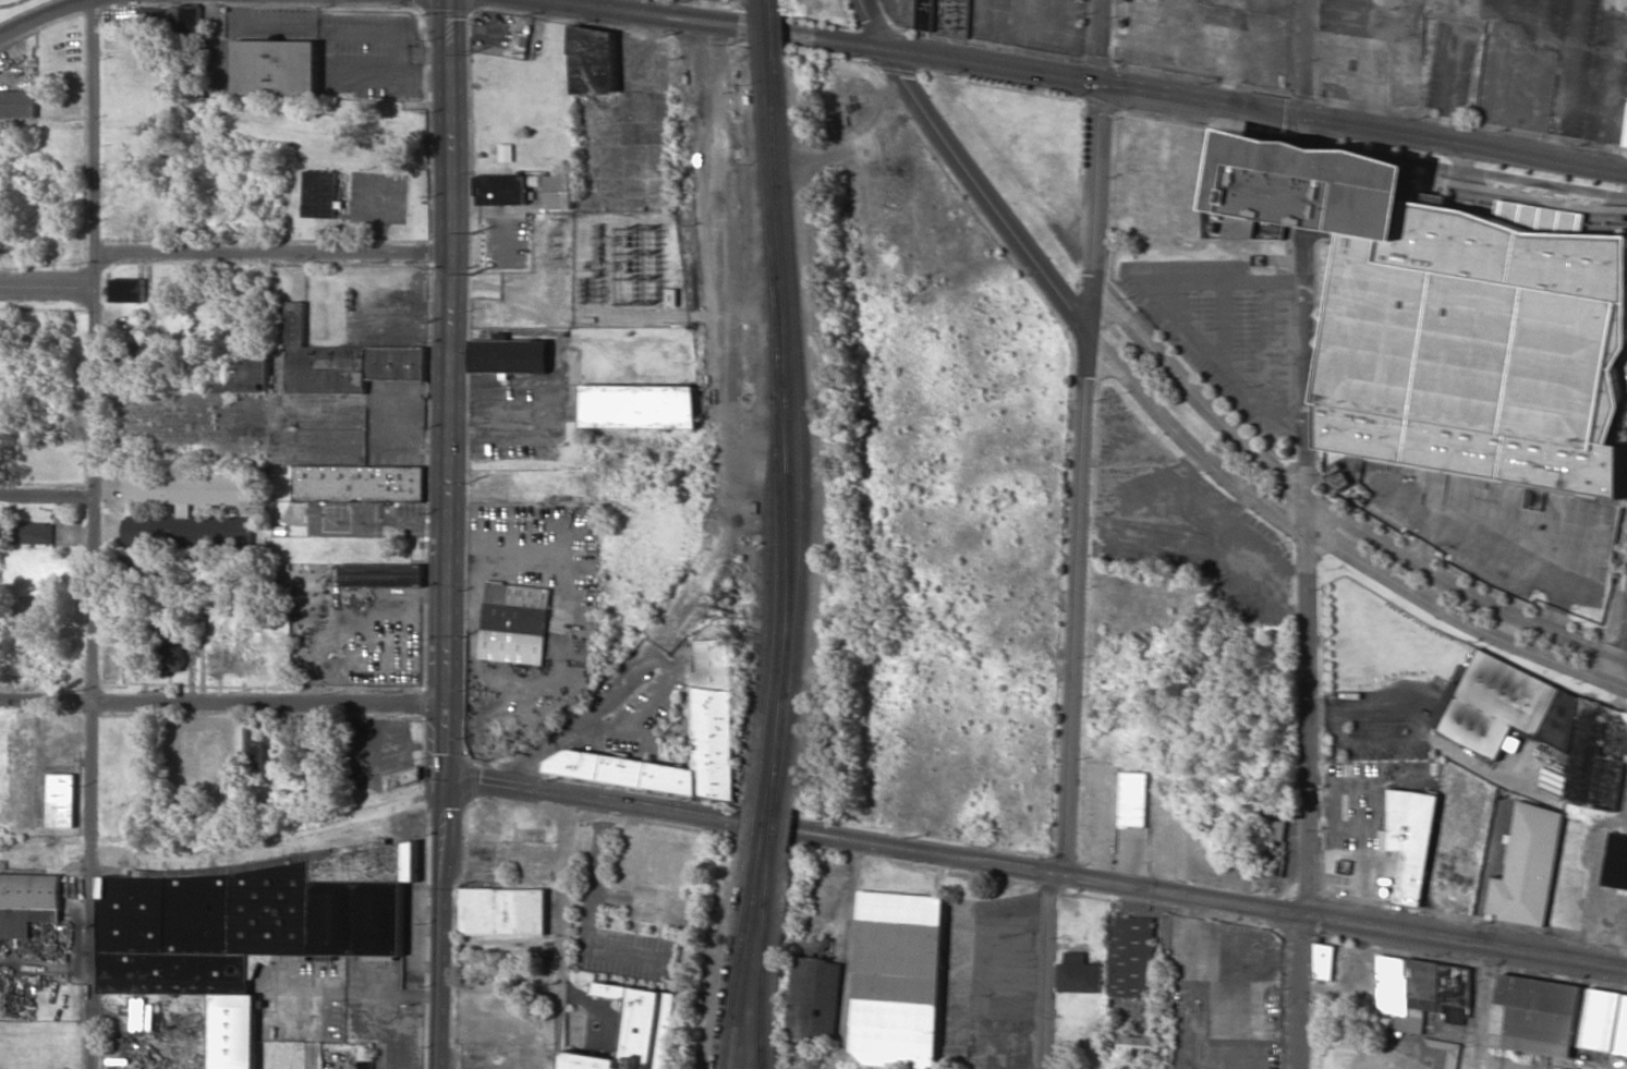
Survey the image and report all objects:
road: (568, 3)
railway: (756, 4)
railway: (765, 4)
railway: (775, 5)
road: (709, 13)
road: (41, 14)
railway: (766, 15)
building: (944, 16)
road: (700, 24)
road: (873, 24)
railway: (758, 29)
railway: (776, 32)
railway: (777, 33)
railway: (768, 36)
traffic signals: (885, 49)
road: (1304, 56)
building: (595, 60)
building: (276, 68)
railway: (770, 71)
road: (1094, 76)
building: (17, 104)
railway: (778, 119)
building: (1625, 136)
railway: (775, 138)
road: (1466, 138)
road: (71, 150)
building: (505, 153)
railway: (768, 165)
road: (971, 178)
railway: (789, 185)
building: (525, 190)
railway: (779, 193)
building: (319, 194)
building: (1271, 230)
road: (272, 250)
power substation: (631, 269)
road: (46, 289)
building: (126, 290)
building: (673, 296)
building: (1449, 319)
railway: (799, 325)
parking lot: (1225, 327)
railway: (788, 337)
railway: (801, 351)
building: (511, 355)
building: (343, 361)
building: (246, 369)
railway: (784, 378)
building: (642, 406)
road: (1082, 437)
railway: (777, 463)
building: (1339, 476)
building: (359, 483)
road: (46, 495)
road: (1324, 508)
building: (186, 509)
building: (296, 511)
parking lot: (1507, 527)
building: (35, 533)
road: (90, 534)
road: (444, 534)
road: (1316, 535)
railway: (781, 540)
building: (381, 574)
railway: (801, 587)
building: (515, 623)
building: (721, 631)
railway: (787, 640)
building: (170, 651)
road: (1622, 656)
road: (1308, 657)
railway: (765, 665)
road: (220, 705)
building: (715, 710)
building: (1544, 727)
railway: (779, 749)
building: (260, 752)
building: (404, 777)
traffic signals: (440, 781)
building: (1131, 798)
building: (62, 800)
railway: (769, 813)
railway: (749, 822)
railway: (758, 824)
railway: (774, 827)
railway: (777, 827)
building: (1276, 830)
railway: (766, 836)
railway: (766, 836)
building: (1409, 840)
road: (870, 843)
building: (1616, 862)
building: (1528, 866)
railway: (770, 877)
railway: (770, 877)
building: (27, 902)
building: (503, 911)
building: (248, 927)
railway: (742, 932)
railway: (746, 932)
road: (562, 934)
road: (1462, 940)
railway: (729, 957)
building: (1129, 957)
railway: (749, 958)
building: (1323, 961)
road: (1045, 970)
building: (1078, 974)
building: (898, 980)
railway: (763, 982)
building: (1421, 992)
building: (814, 999)
road: (1483, 1007)
building: (1539, 1015)
building: (1606, 1021)
building: (635, 1030)
railway: (725, 1043)
building: (1137, 1044)
building: (1443, 1053)
road: (993, 1056)
building: (365, 1058)
railway: (761, 1065)

